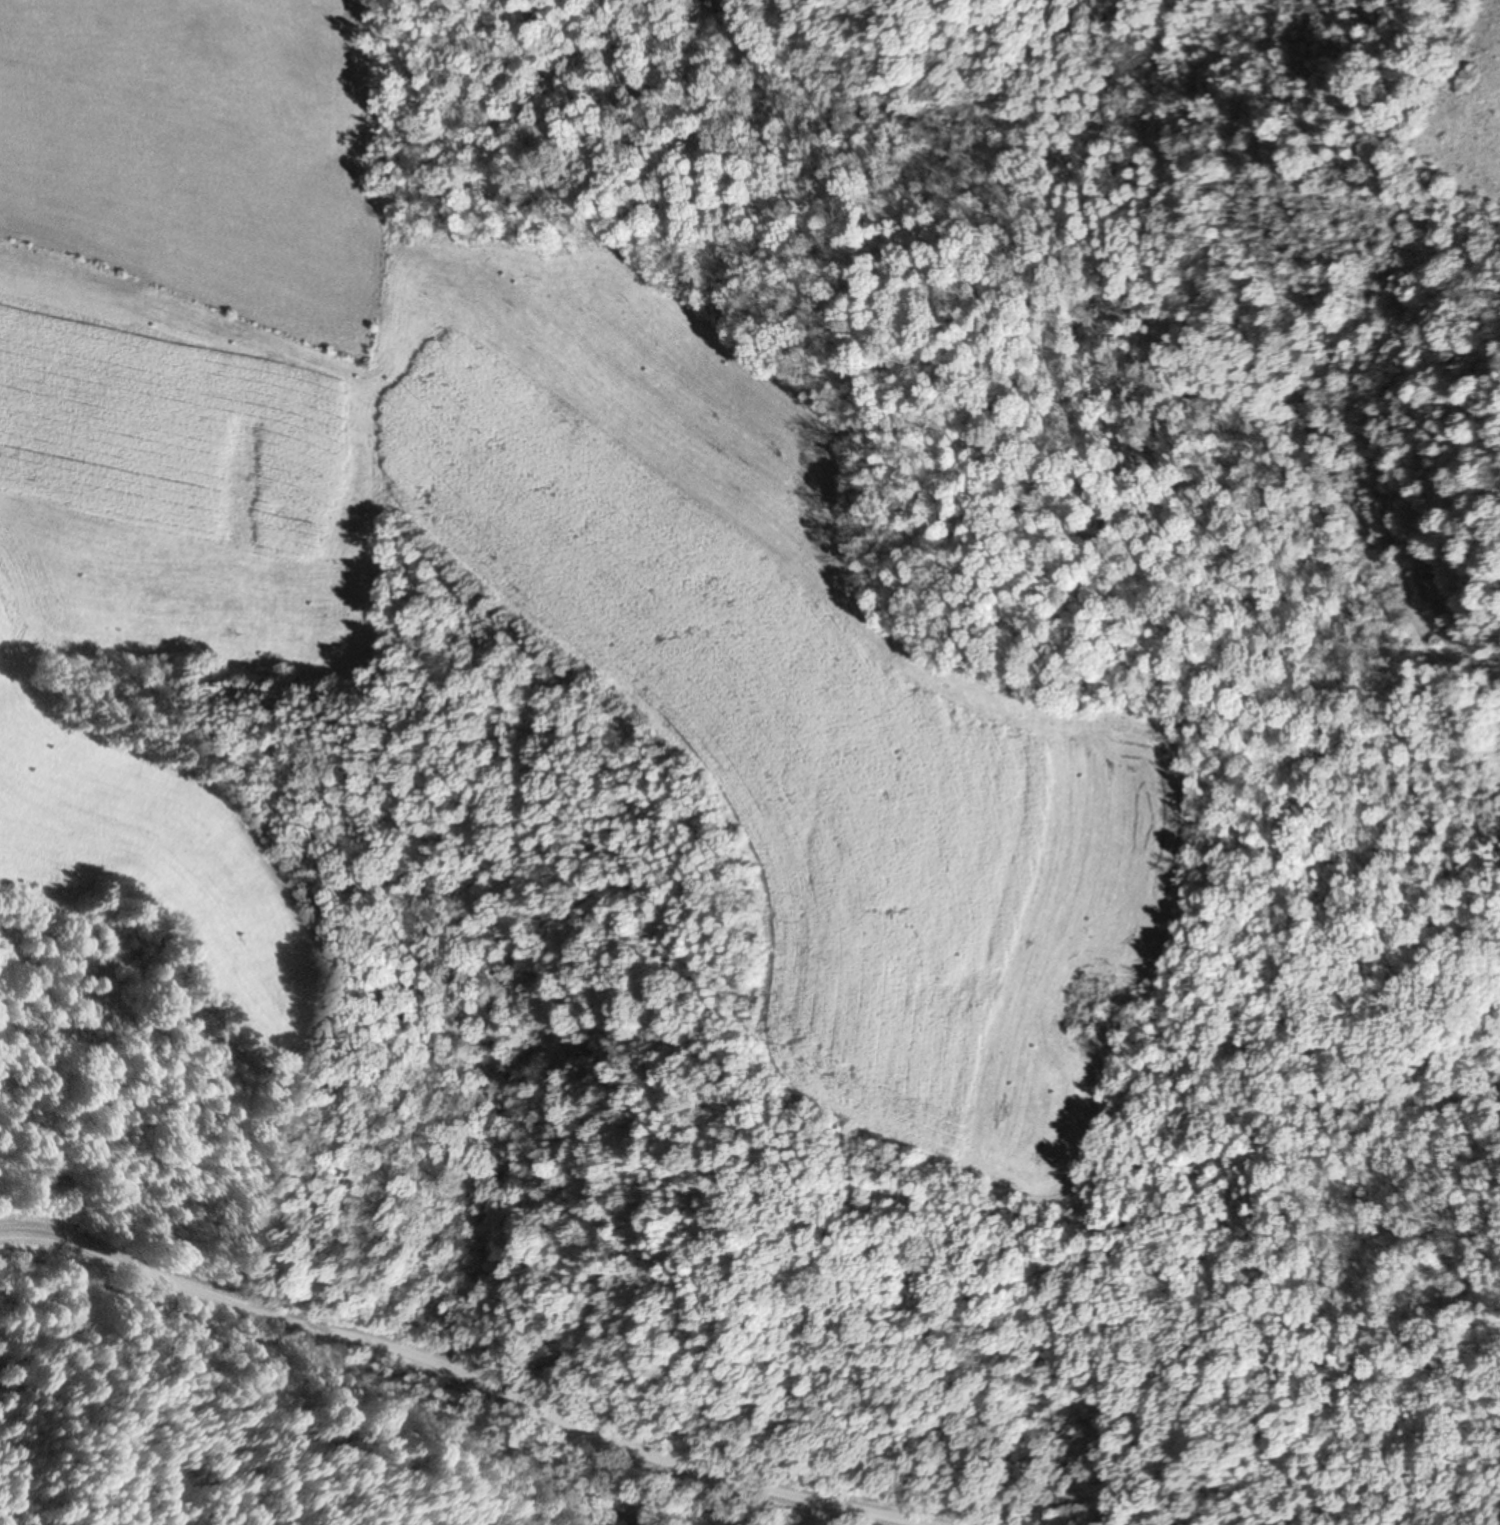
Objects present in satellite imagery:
road: (460, 1373)

